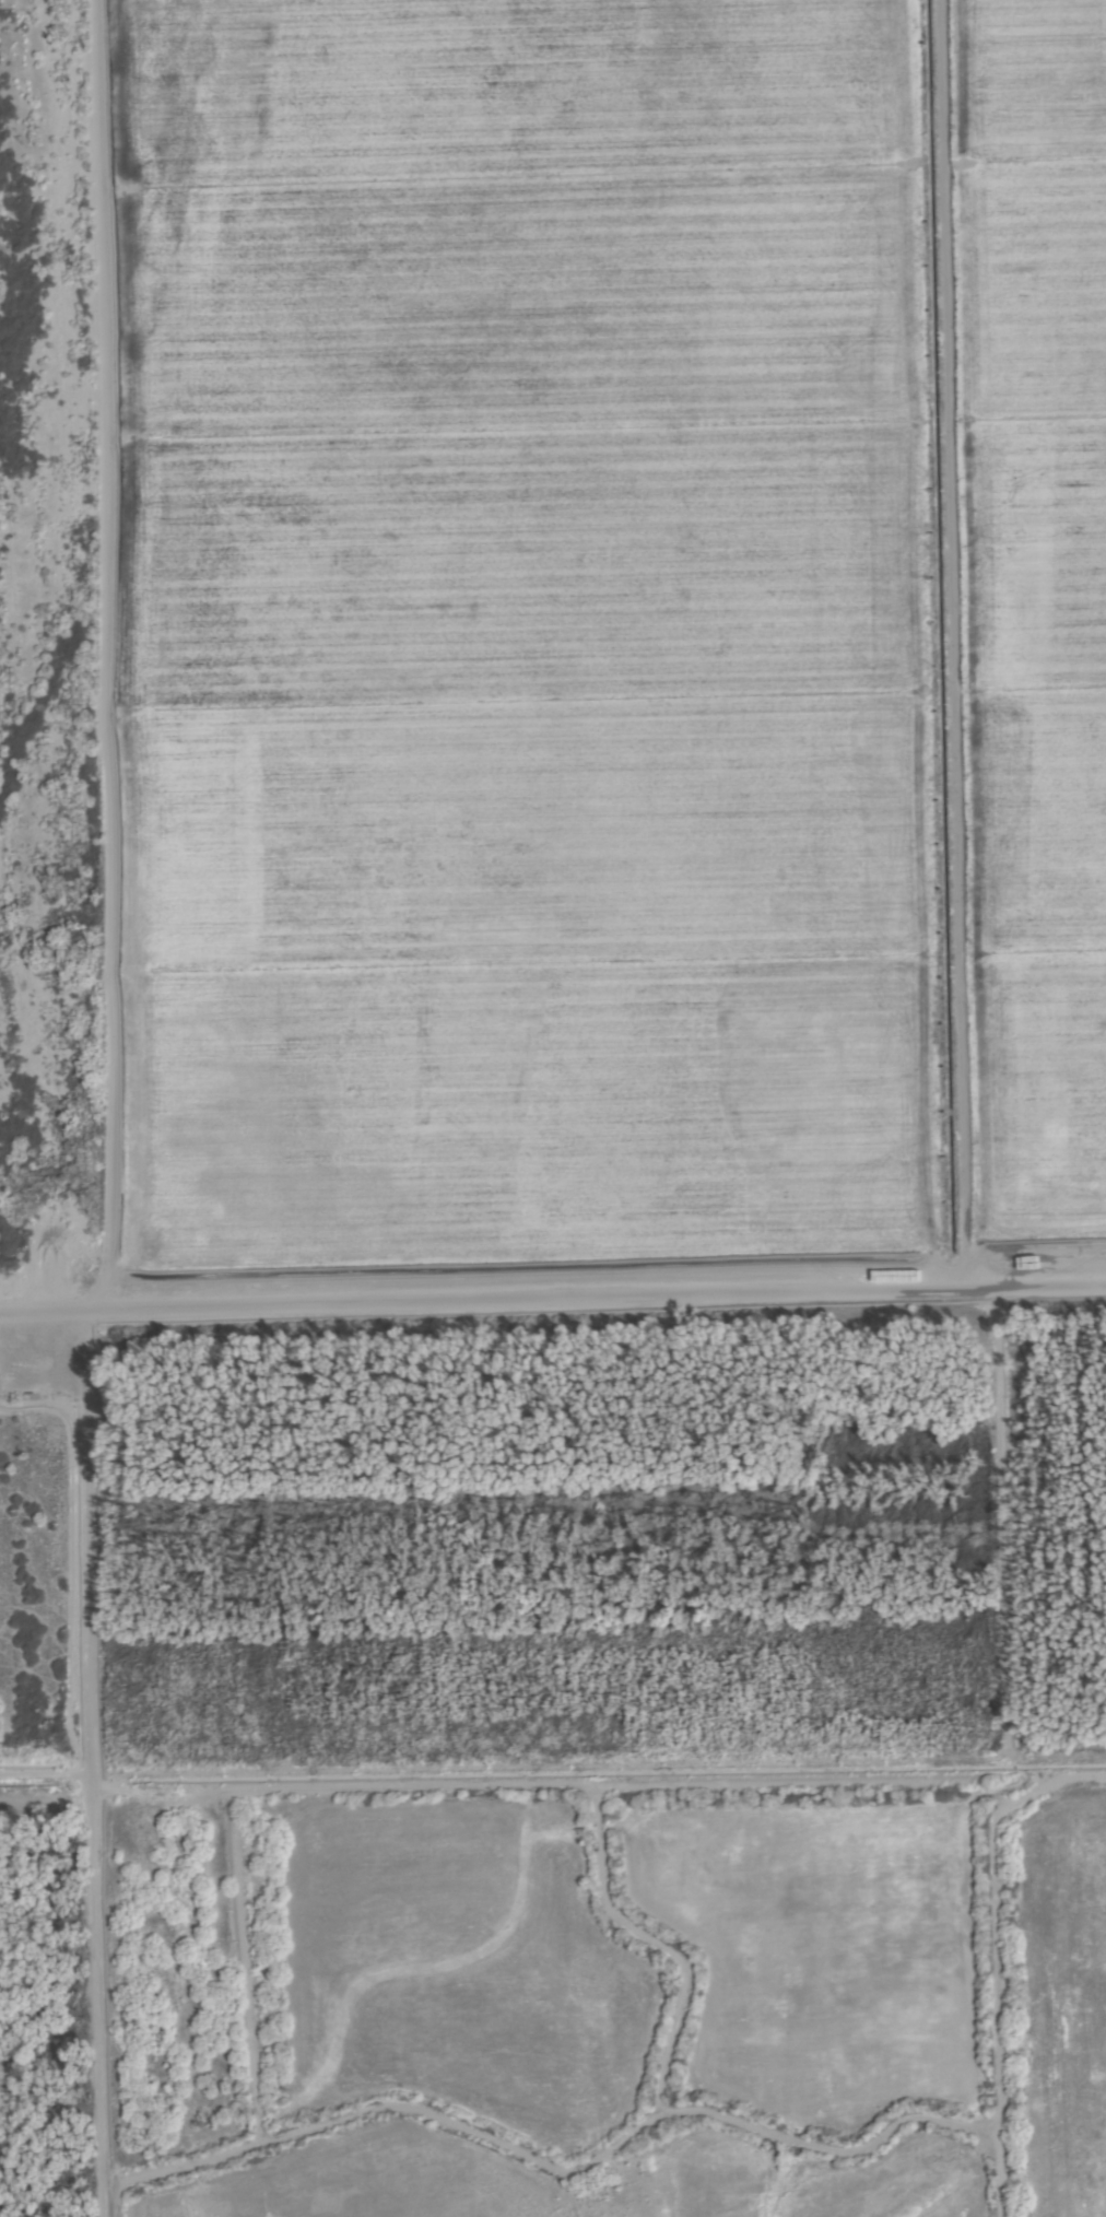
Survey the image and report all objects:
road: (553, 1297)

